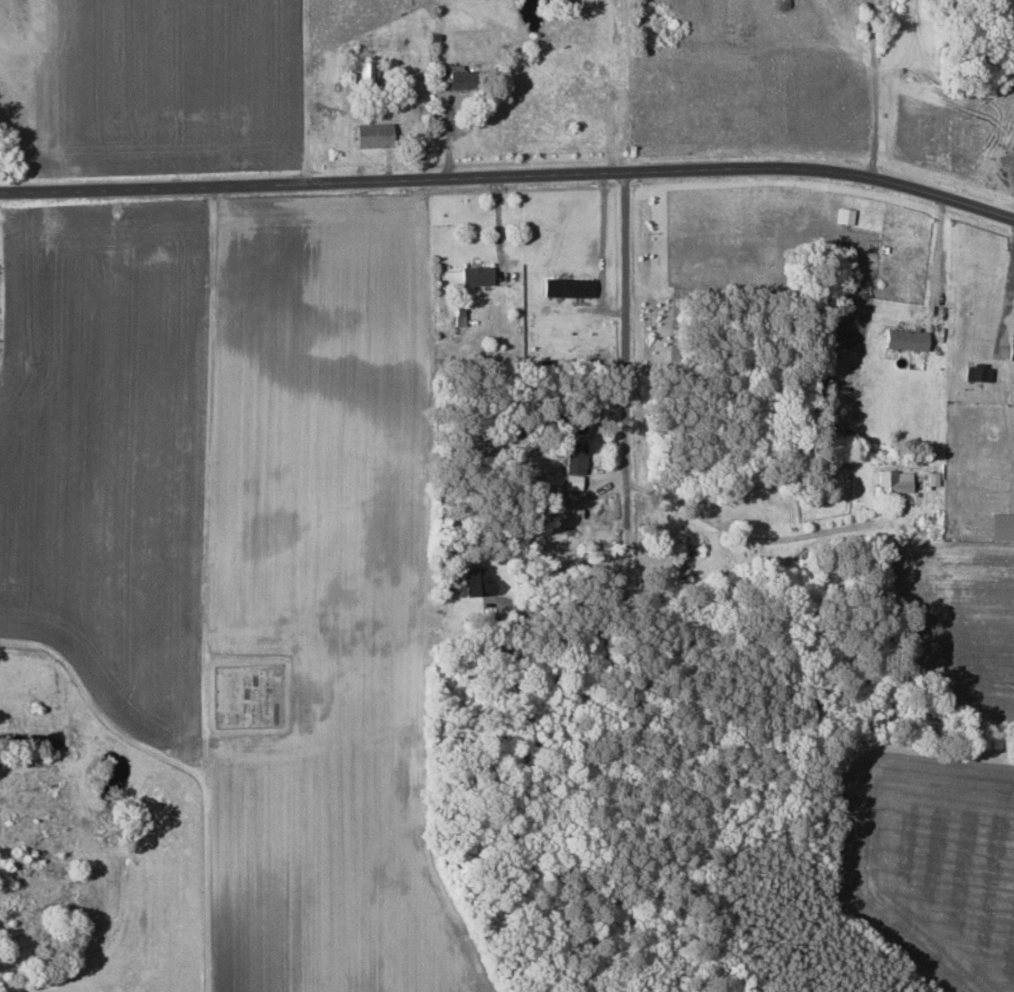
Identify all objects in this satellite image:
building: (363, 75)
road: (877, 87)
road: (305, 91)
building: (372, 136)
road: (510, 179)
building: (844, 216)
building: (476, 276)
building: (566, 288)
road: (1006, 301)
building: (905, 340)
building: (1010, 353)
road: (629, 385)
building: (574, 464)
building: (894, 482)
road: (759, 540)
building: (476, 582)
road: (200, 588)
road: (562, 606)
road: (93, 708)

